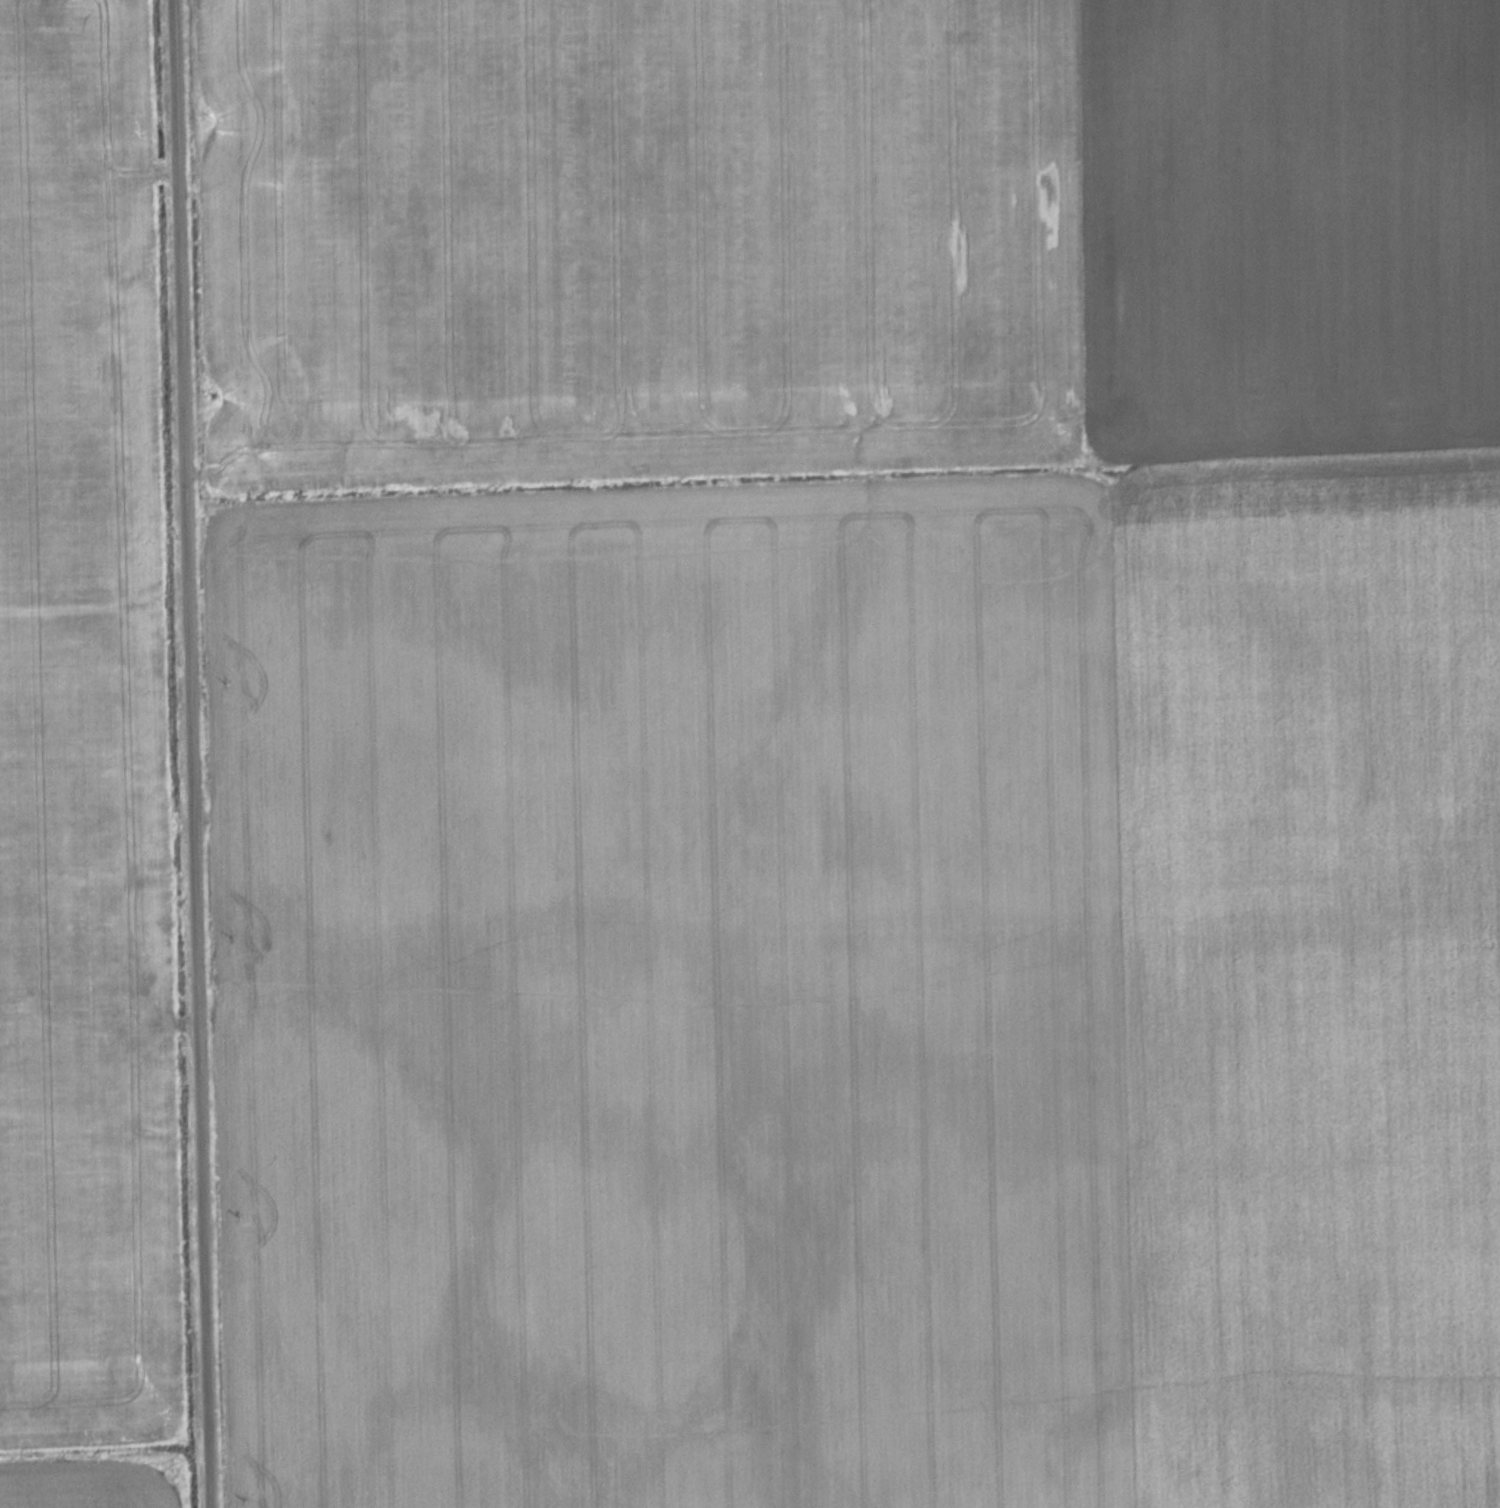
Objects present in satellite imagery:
road: (186, 754)

